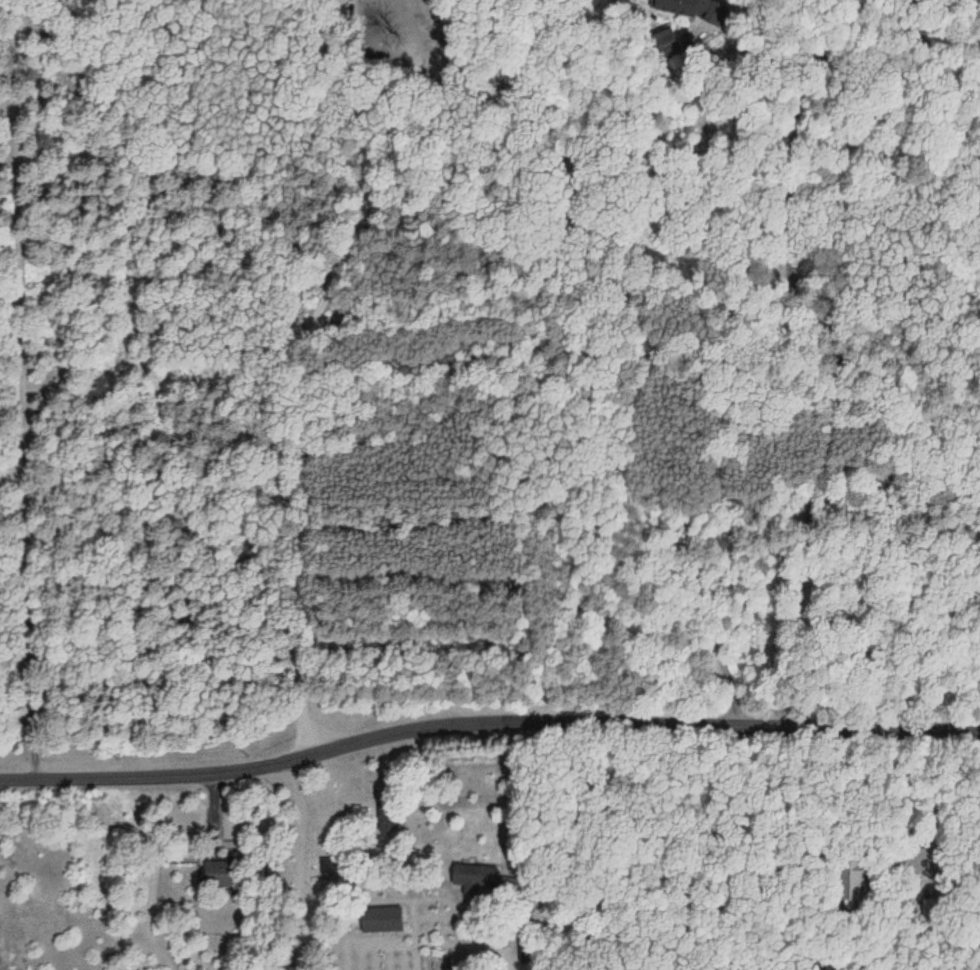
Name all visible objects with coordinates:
building: (680, 5)
road: (385, 114)
road: (548, 354)
road: (834, 356)
road: (28, 389)
road: (299, 430)
road: (485, 708)
building: (384, 819)
building: (215, 873)
building: (379, 918)

